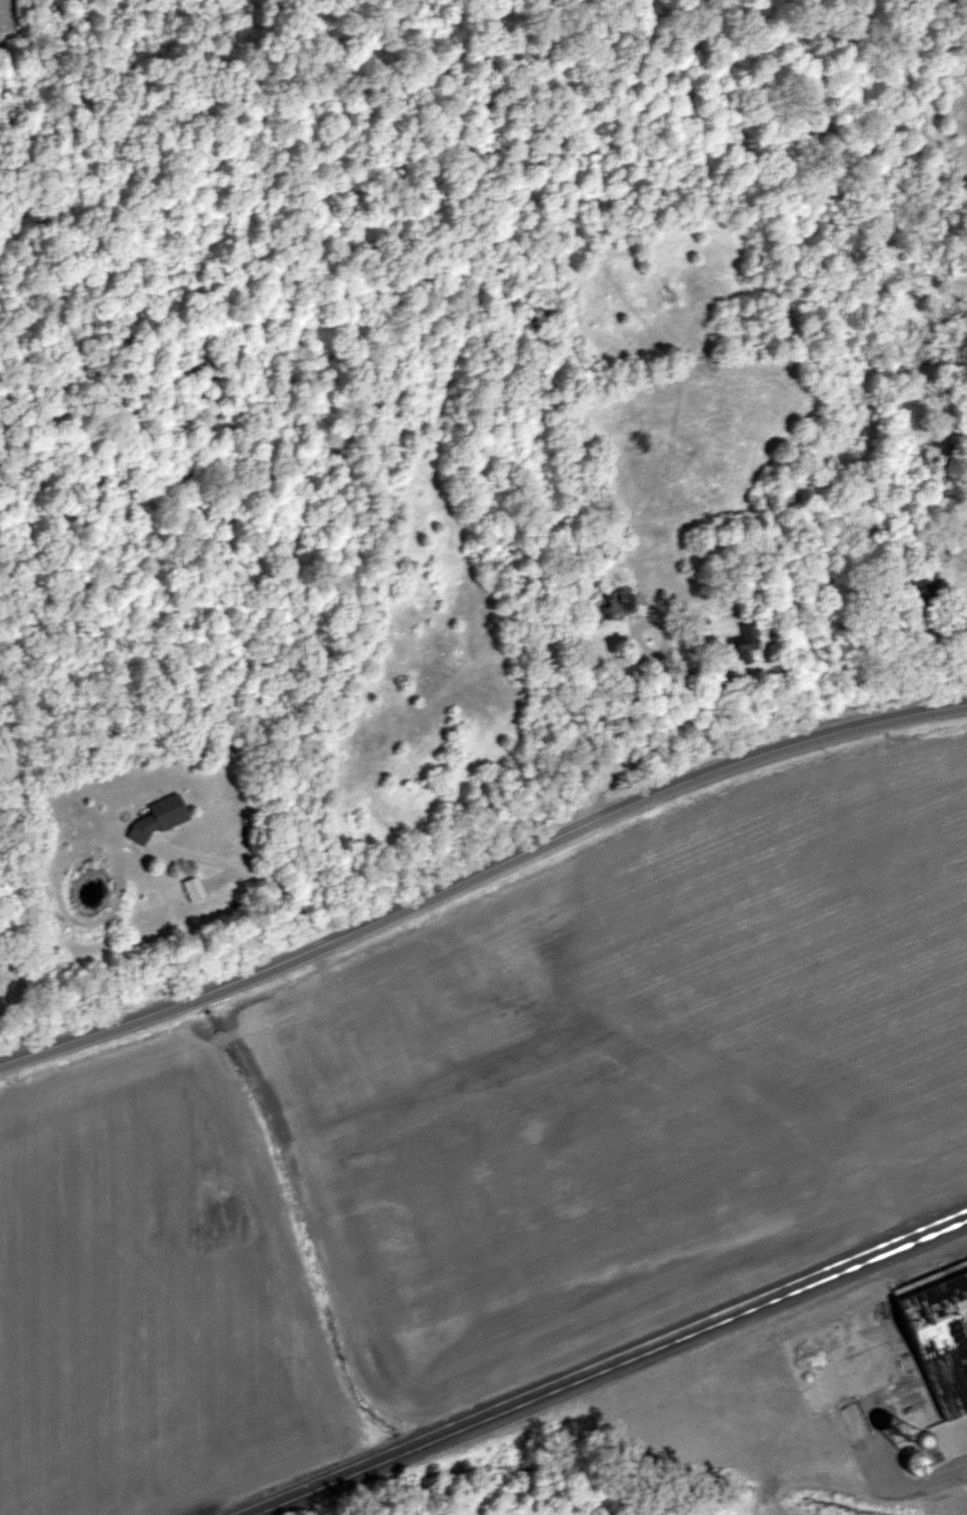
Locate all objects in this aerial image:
road: (961, 536)
road: (741, 656)
building: (166, 819)
road: (262, 861)
road: (479, 866)
building: (956, 1268)
railway: (598, 1361)
railway: (613, 1370)
water tower: (909, 1444)

